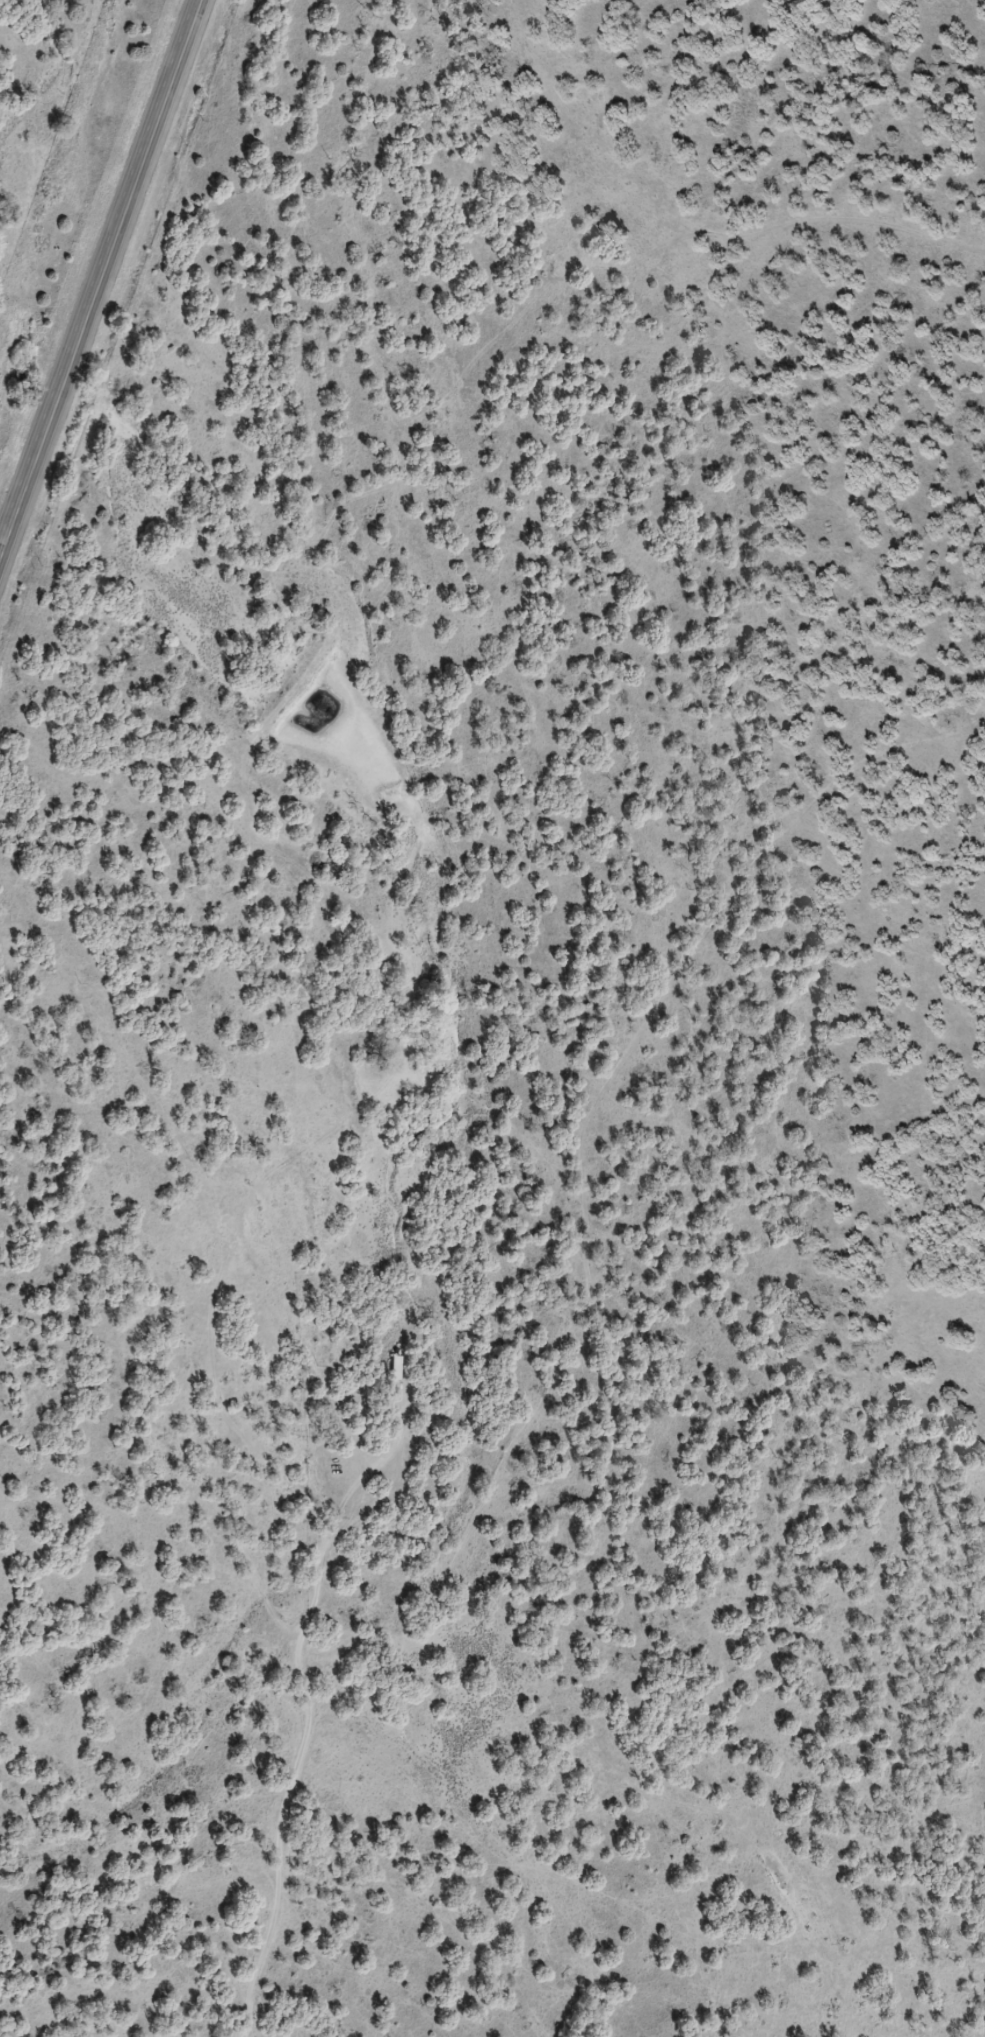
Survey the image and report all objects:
road: (99, 273)
building: (399, 1369)

